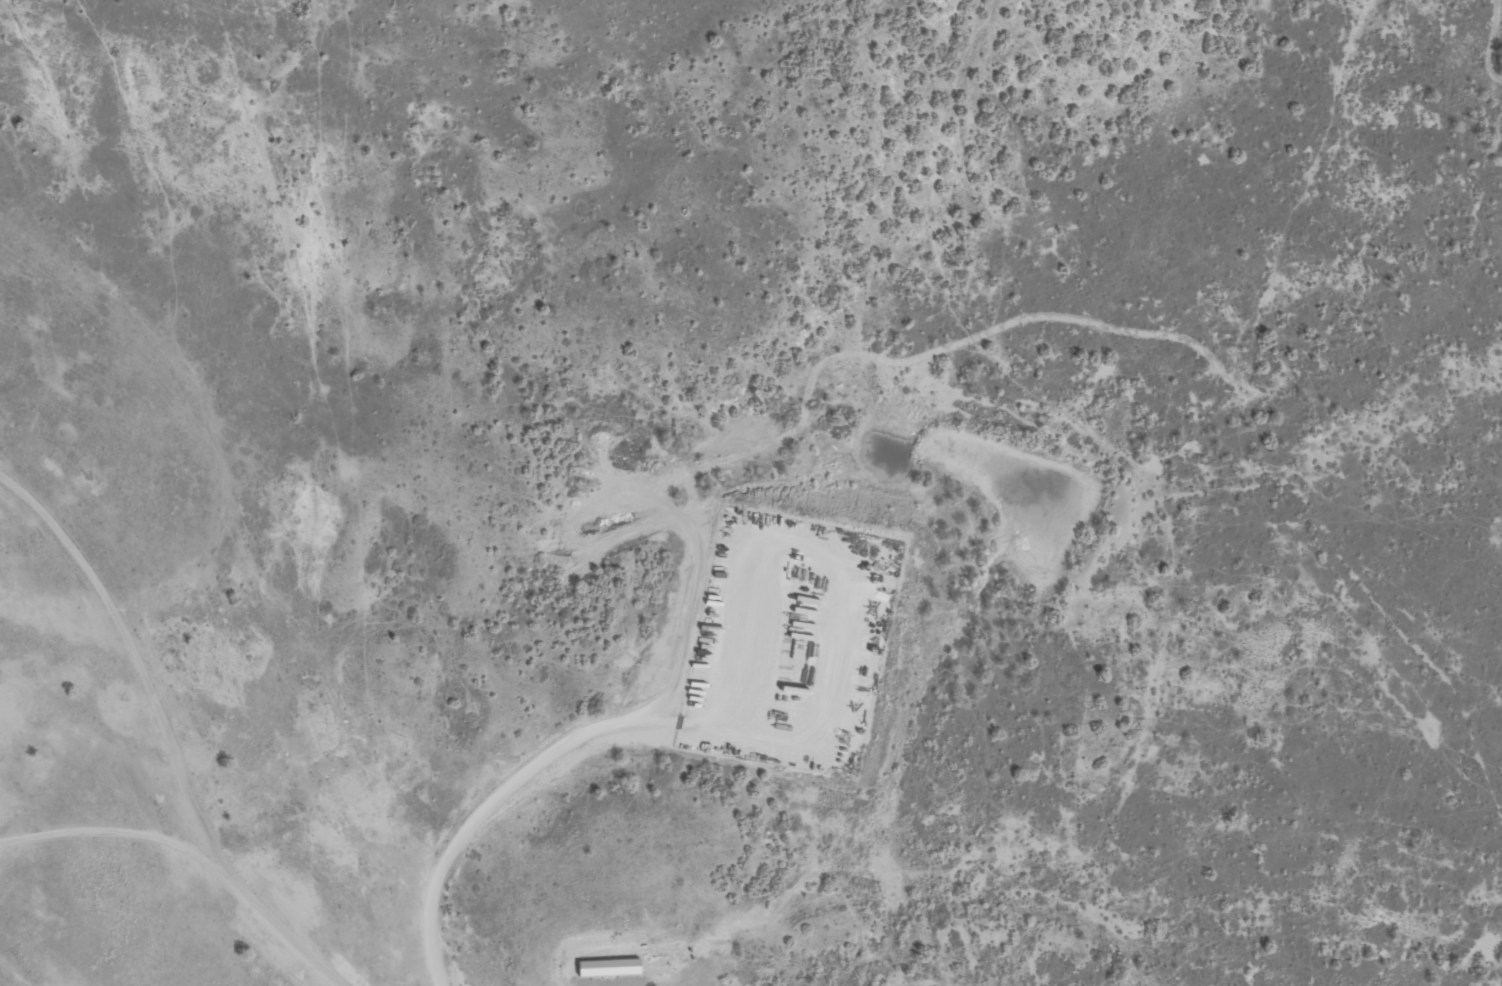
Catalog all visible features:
road: (836, 571)
road: (154, 682)
road: (503, 792)
road: (149, 837)
road: (314, 950)
building: (611, 967)
road: (668, 980)
parking lot: (617, 982)
road: (643, 984)

